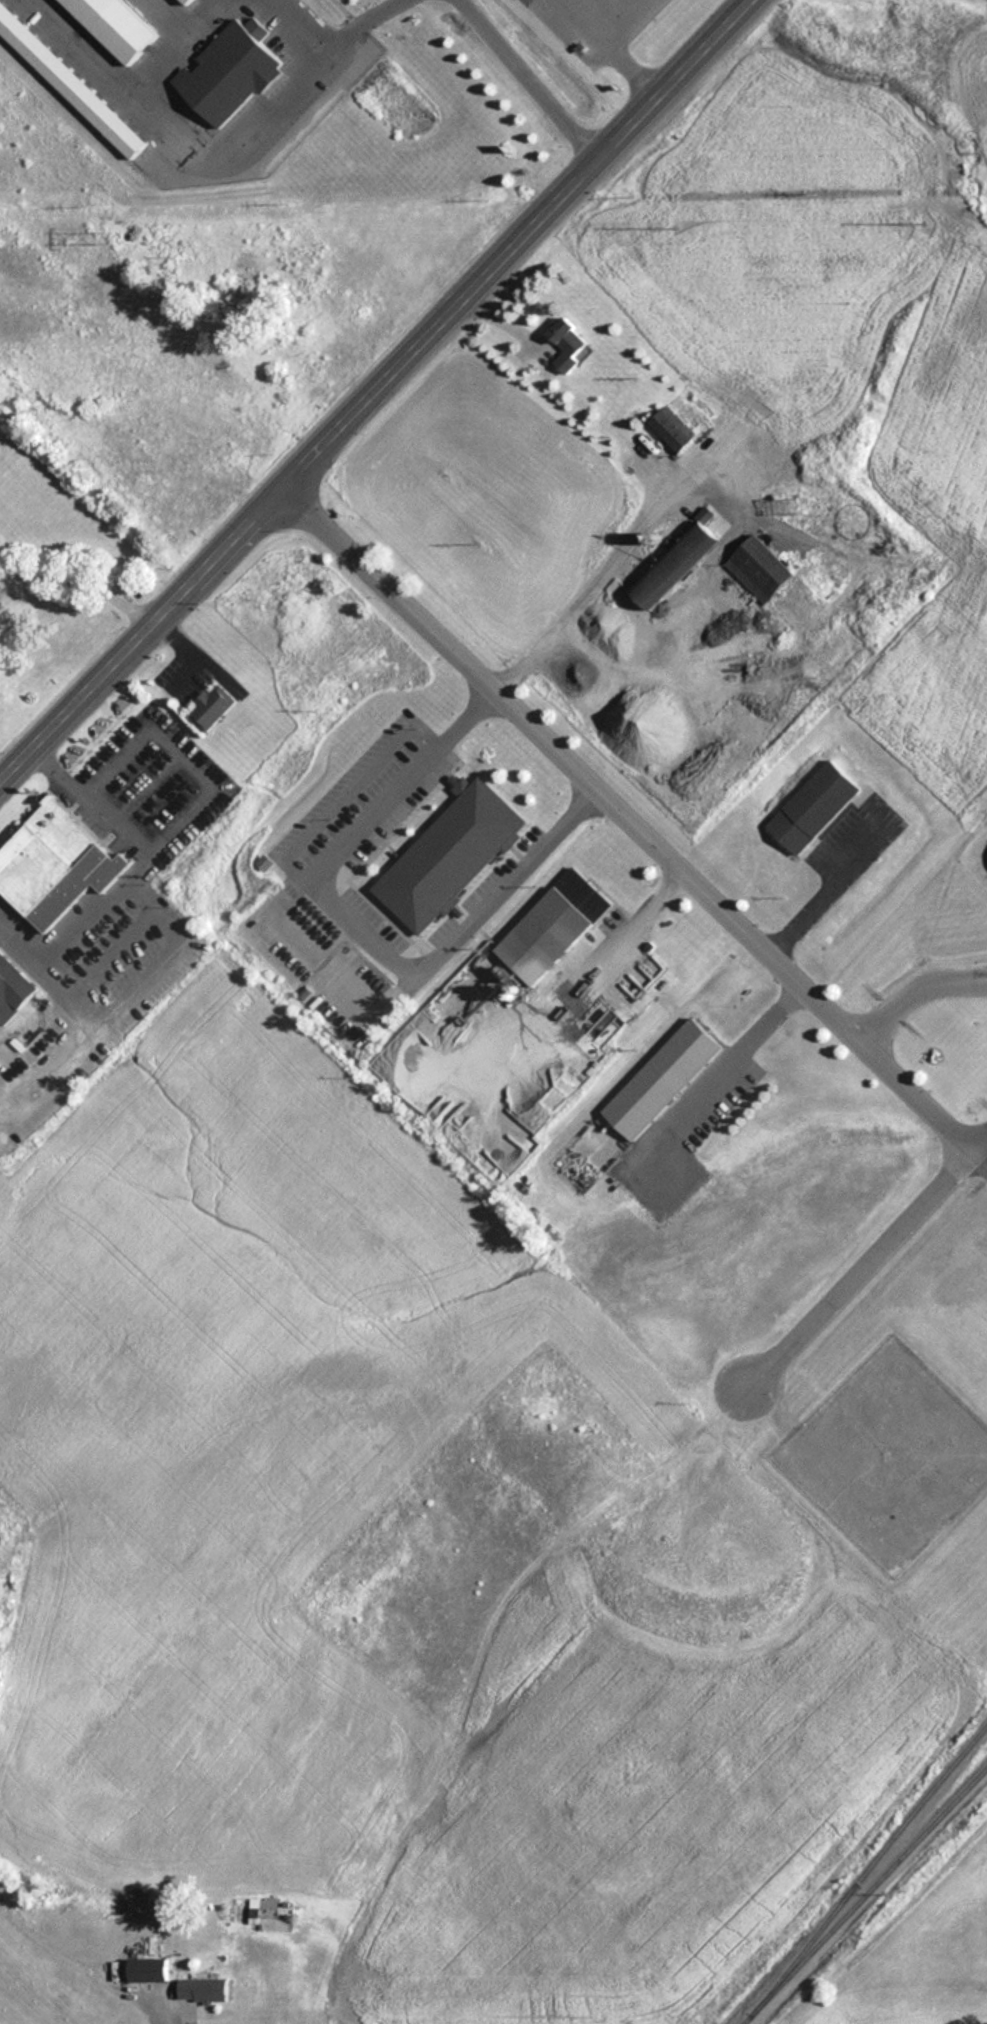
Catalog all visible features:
building: (184, 1)
road: (355, 19)
road: (308, 21)
road: (584, 24)
road: (630, 24)
building: (114, 25)
building: (229, 70)
road: (633, 75)
building: (69, 82)
road: (529, 82)
road: (192, 129)
power tower: (932, 218)
power tower: (689, 225)
power tower: (115, 237)
road: (521, 248)
building: (569, 345)
building: (667, 432)
building: (674, 565)
building: (758, 568)
road: (143, 636)
building: (211, 707)
building: (811, 807)
road: (626, 821)
building: (448, 855)
building: (54, 864)
building: (264, 864)
road: (817, 895)
building: (554, 928)
road: (353, 930)
building: (13, 987)
road: (911, 987)
road: (736, 1055)
building: (661, 1079)
road: (865, 1261)
road: (471, 1666)
railway: (867, 1868)
railway: (863, 1894)
building: (265, 1915)
building: (146, 1968)
building: (202, 1988)

